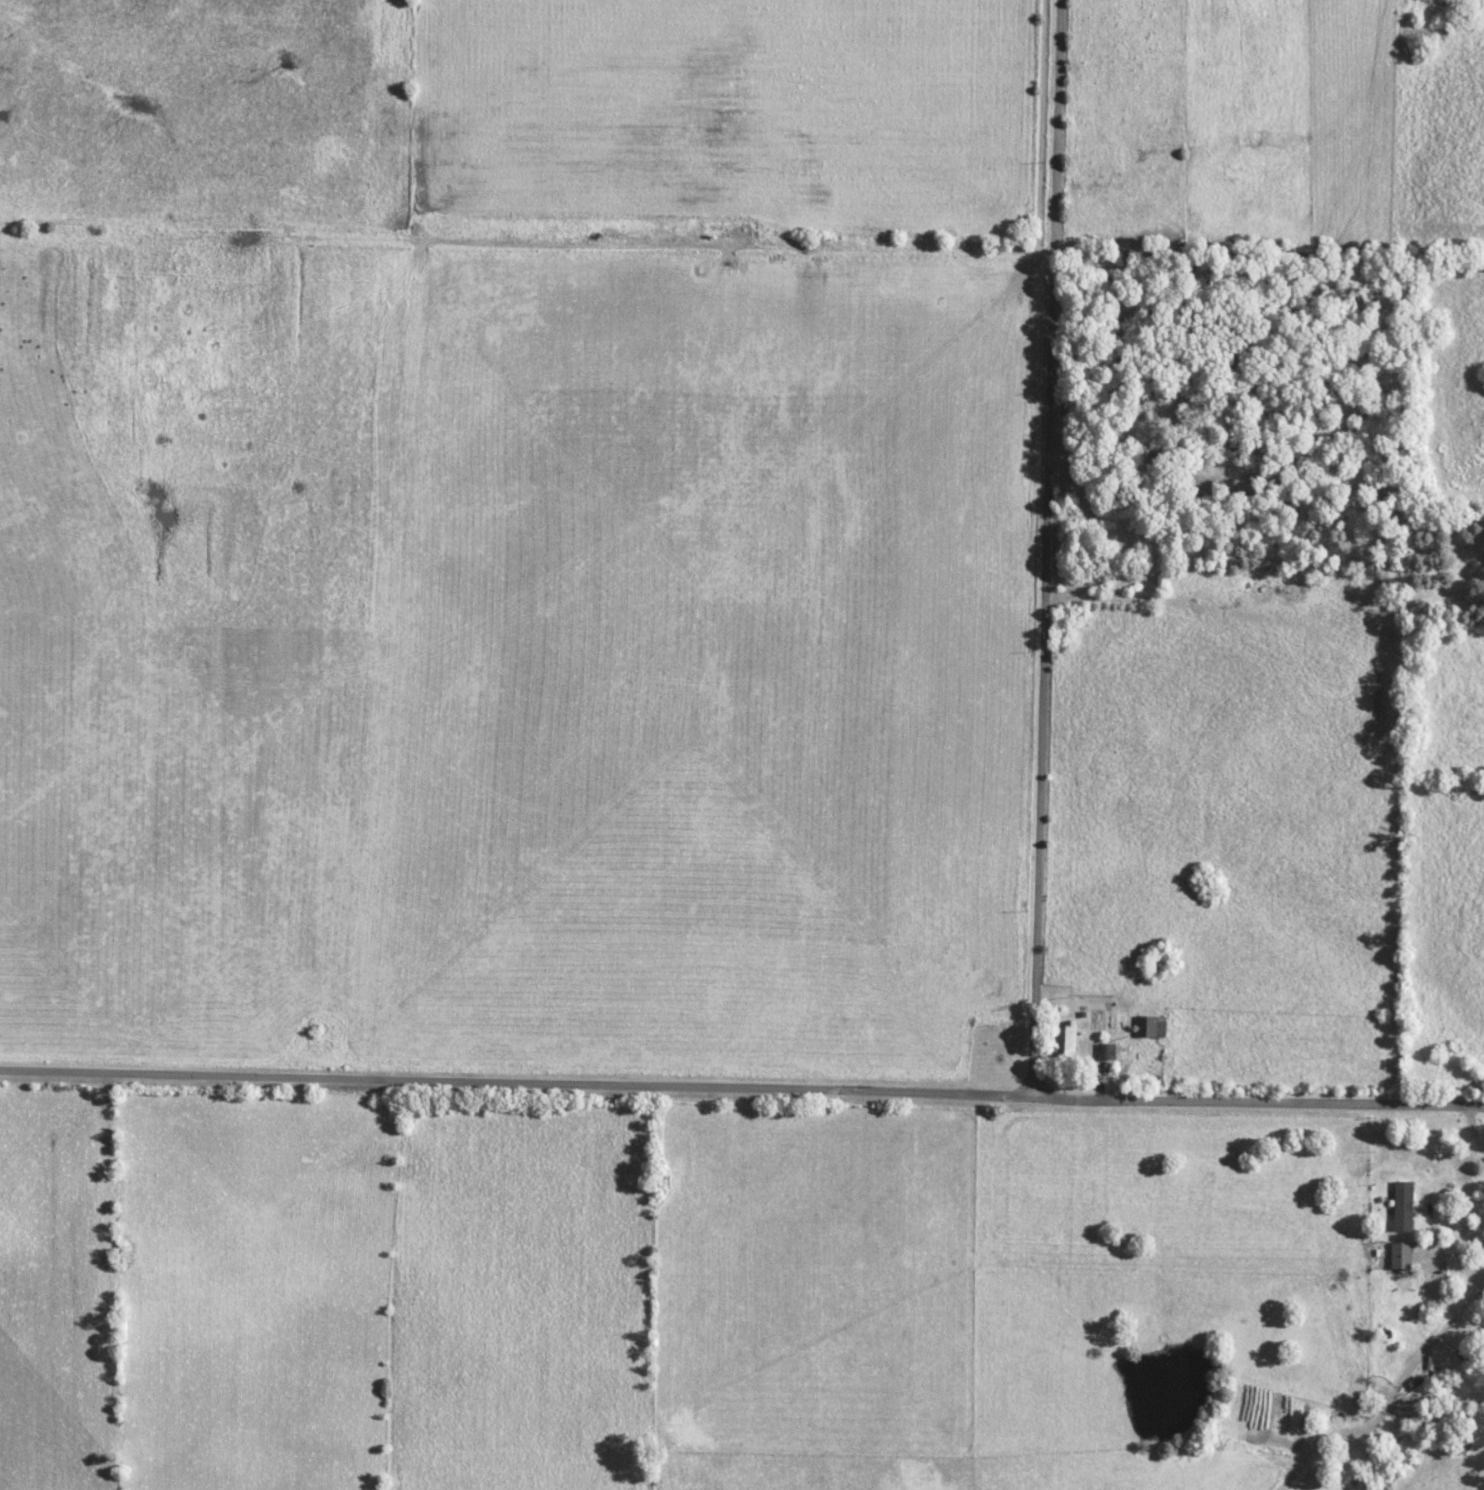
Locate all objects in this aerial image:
building: (1130, 541)
road: (1050, 549)
park: (1445, 562)
building: (1148, 1026)
building: (1064, 1039)
building: (1105, 1052)
road: (741, 1090)
road: (1474, 1123)
building: (1402, 1206)
road: (1458, 1247)
building: (1399, 1256)

